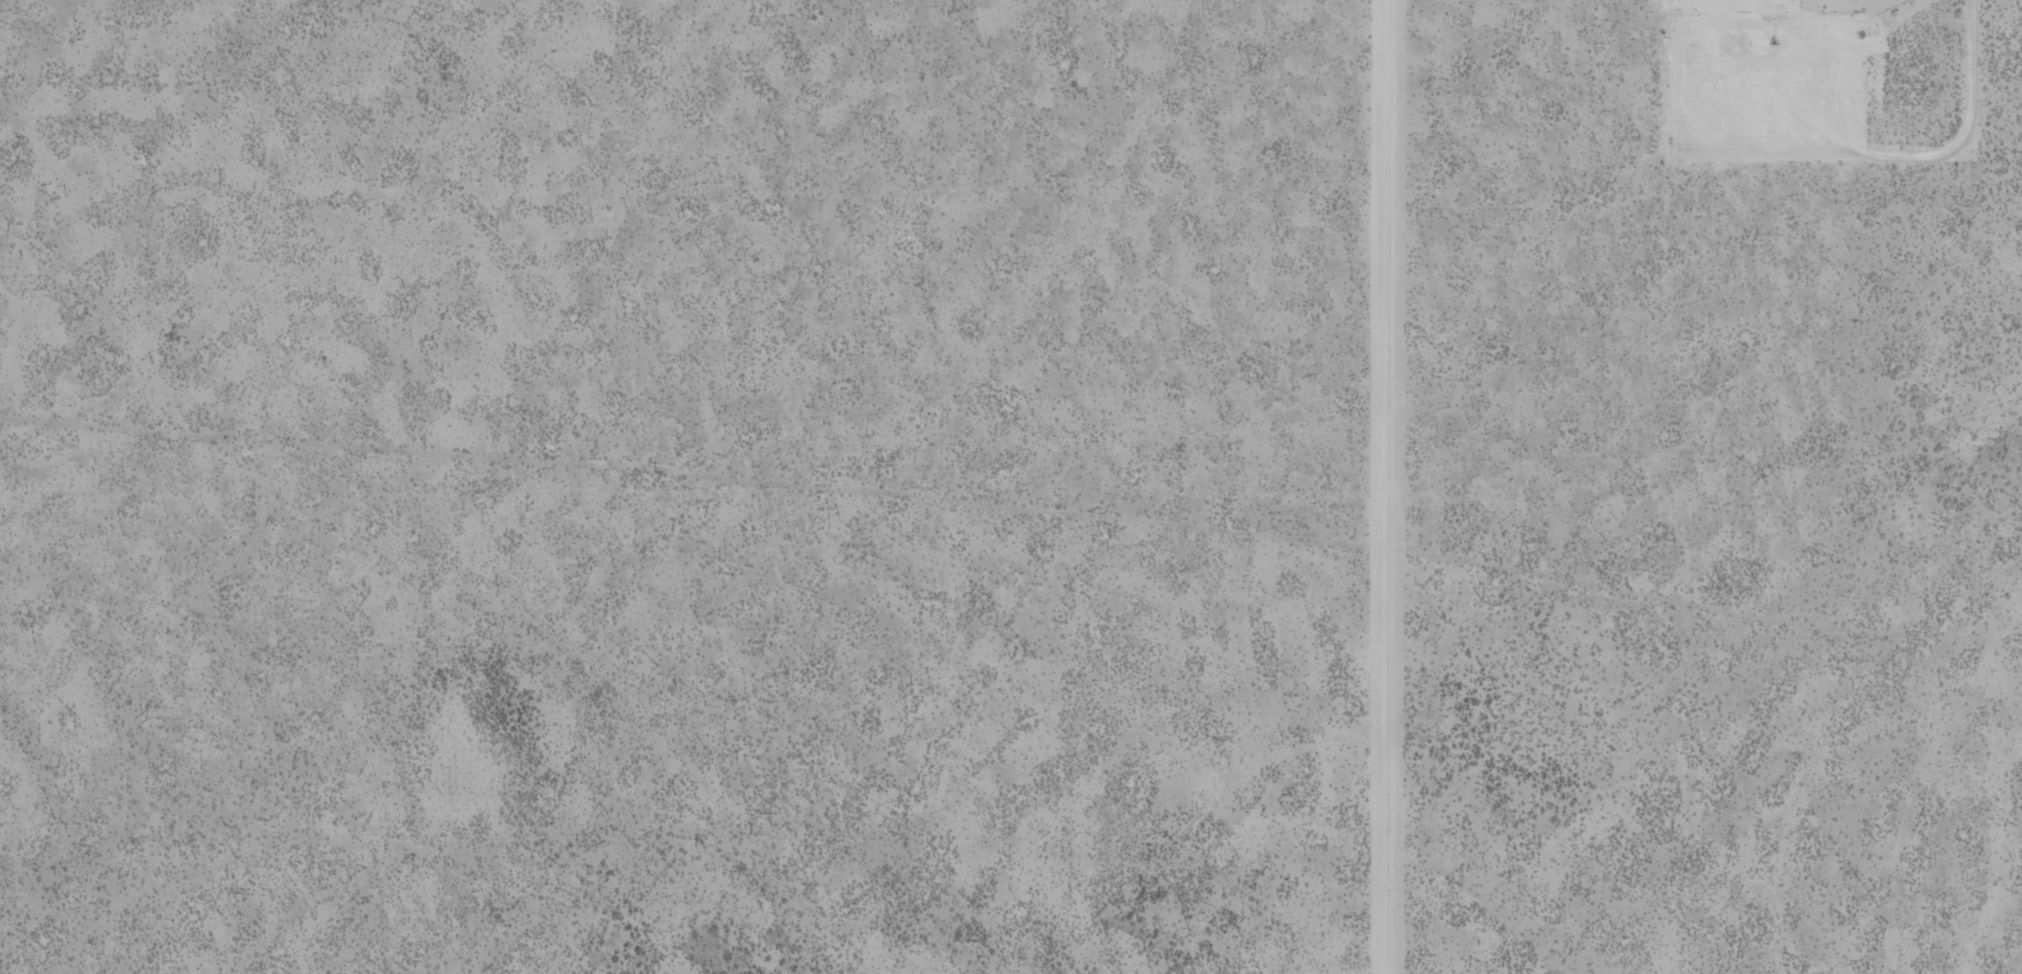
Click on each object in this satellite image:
road: (1347, 245)
road: (1015, 444)

